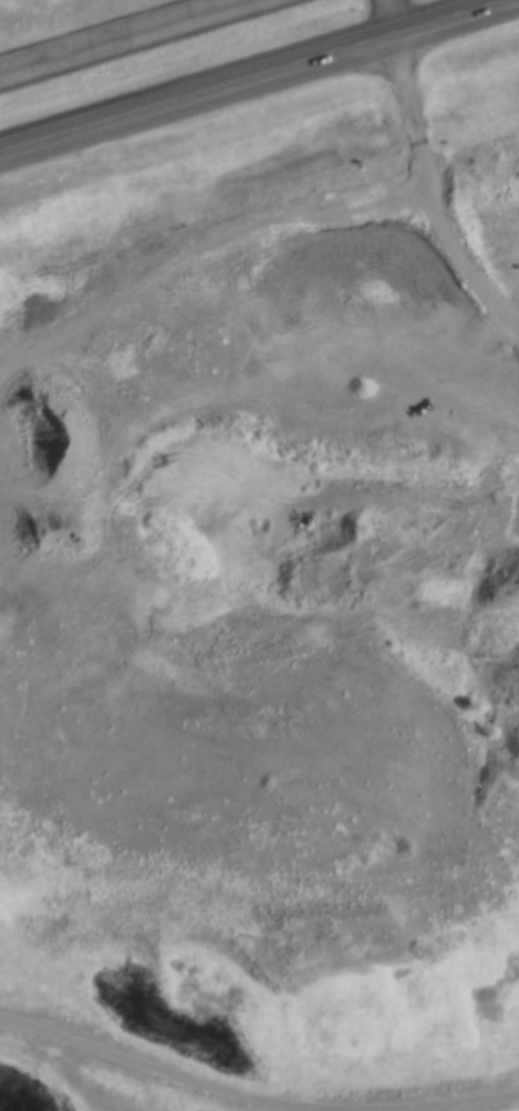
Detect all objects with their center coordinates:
road: (392, 14)
road: (125, 38)
road: (259, 77)
road: (437, 172)
quarry: (507, 305)
road: (255, 1091)

